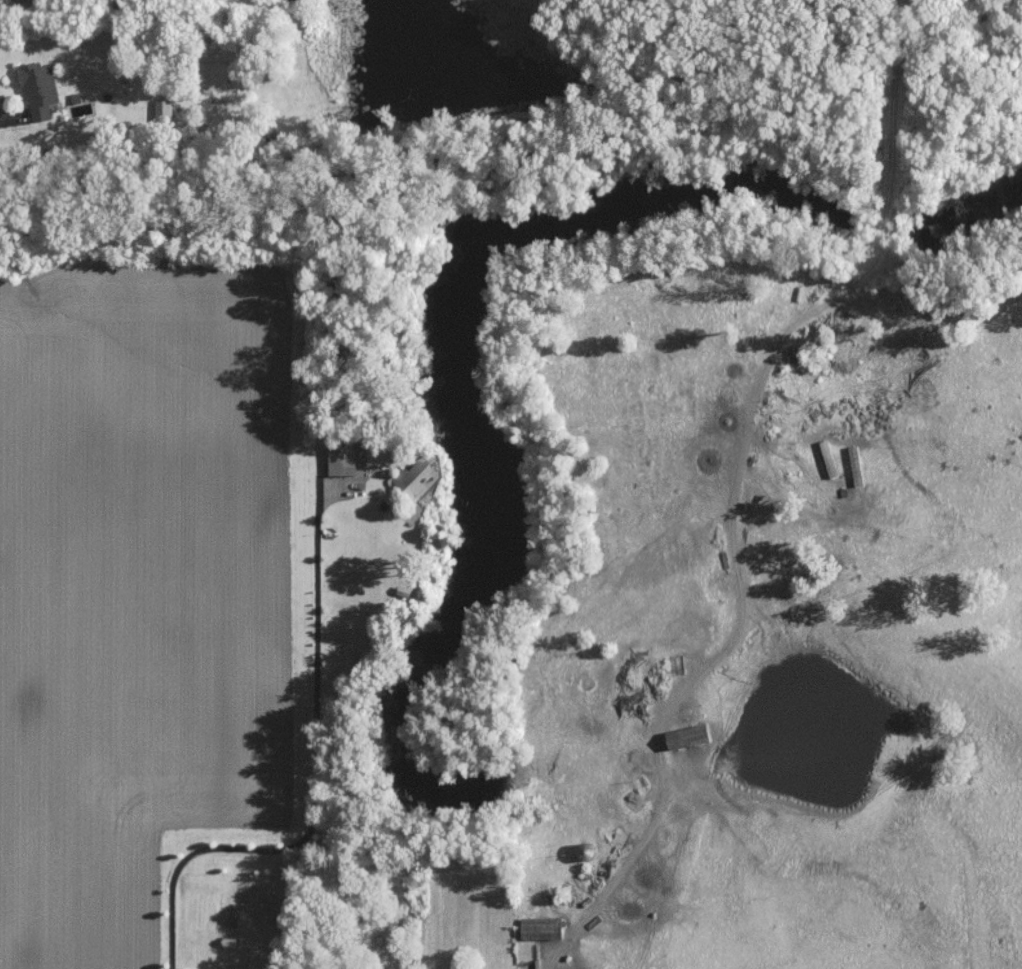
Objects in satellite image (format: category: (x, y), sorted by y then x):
building: (39, 89)
road: (129, 177)
building: (343, 458)
building: (829, 459)
building: (419, 478)
road: (688, 693)
road: (313, 724)
building: (690, 736)
road: (177, 866)
building: (542, 927)
road: (166, 928)

